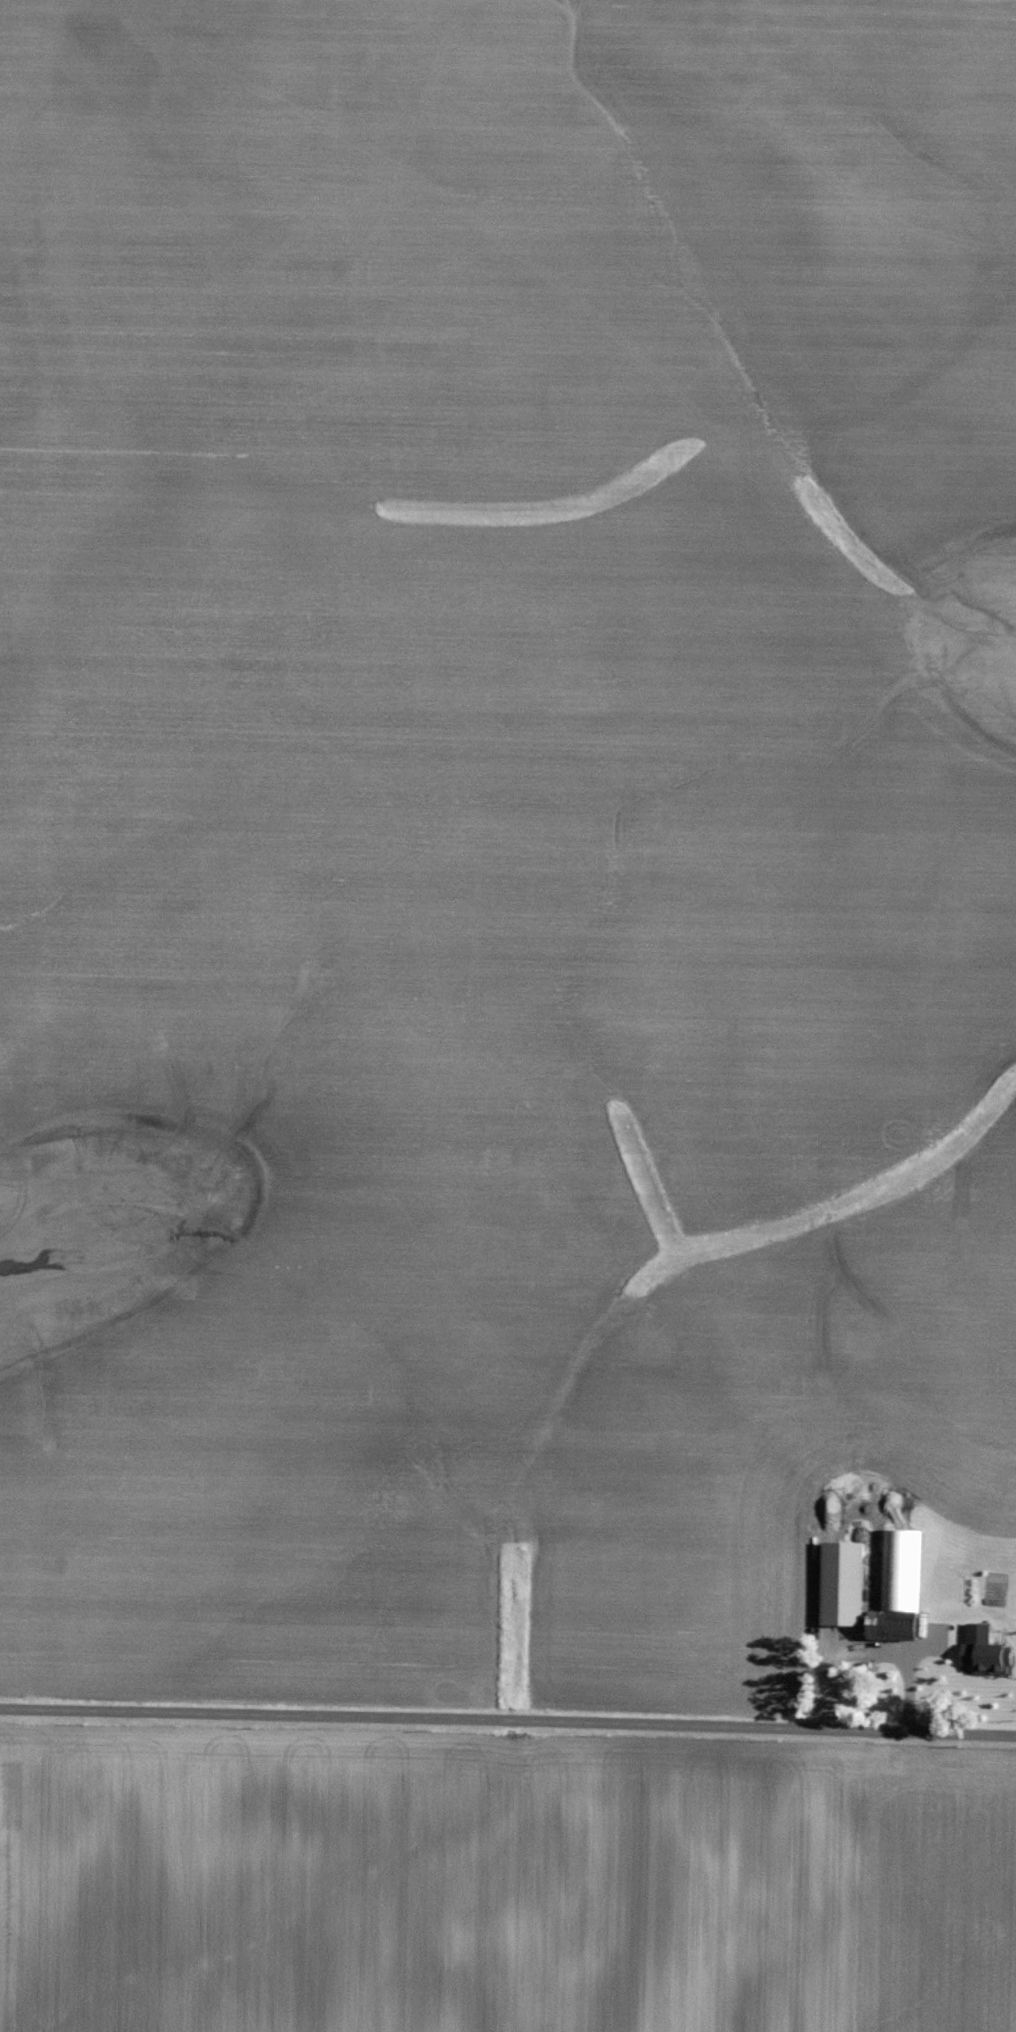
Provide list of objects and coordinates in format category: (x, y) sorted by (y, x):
road: (508, 1724)

